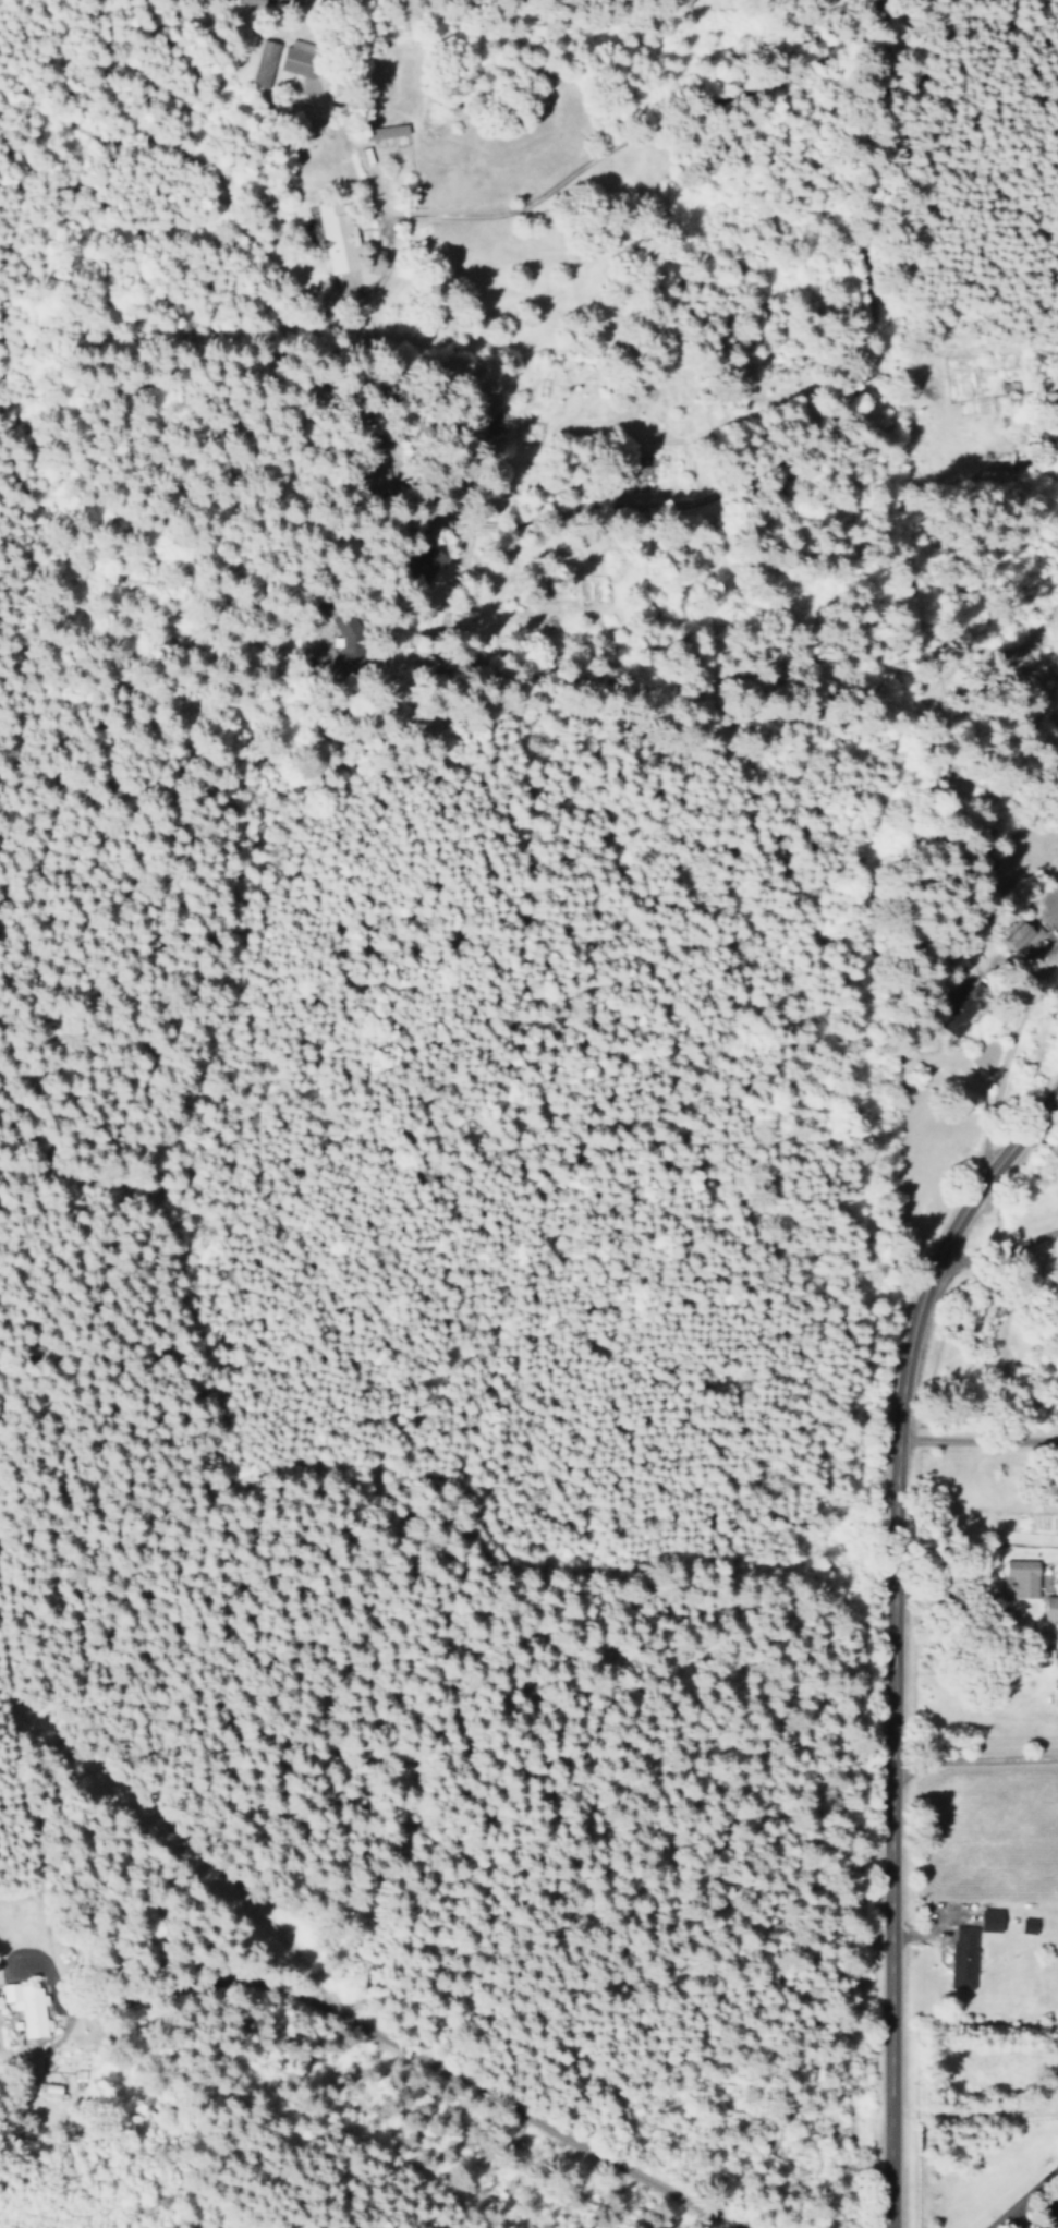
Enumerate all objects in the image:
building: (299, 57)
building: (263, 63)
building: (389, 134)
road: (615, 158)
building: (337, 235)
road: (795, 422)
building: (345, 638)
road: (982, 1213)
road: (961, 1453)
building: (1020, 1577)
building: (1048, 1608)
road: (210, 1620)
road: (862, 1620)
road: (959, 1759)
road: (39, 1894)
building: (992, 1918)
building: (964, 1957)
road: (222, 1961)
building: (49, 2092)

